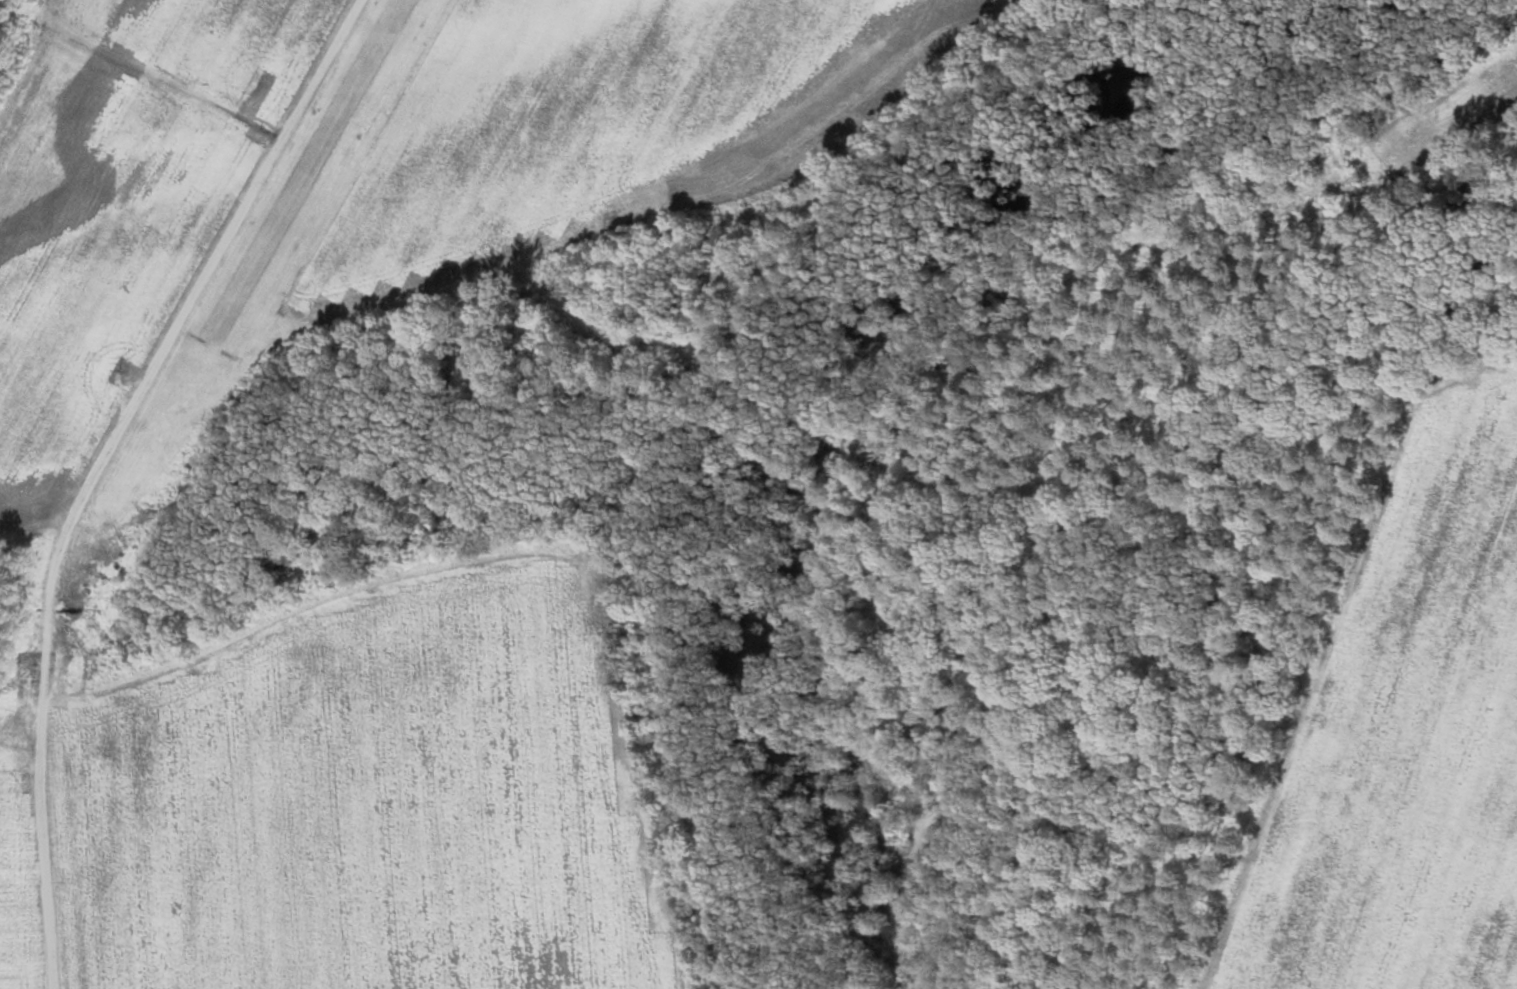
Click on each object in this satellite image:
airport runway: (306, 175)
road: (103, 466)

